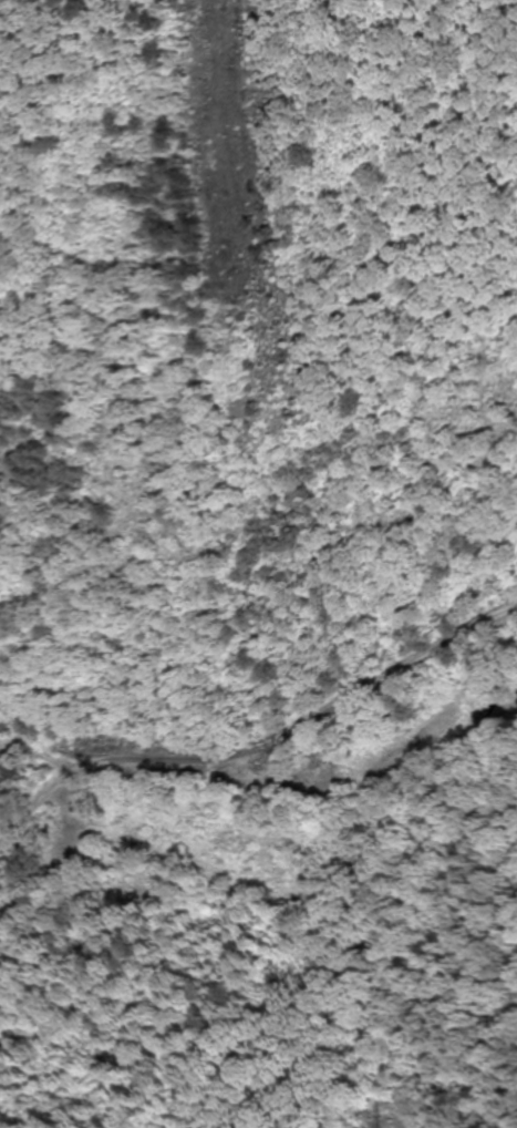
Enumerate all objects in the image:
road: (265, 746)
building: (4, 769)

